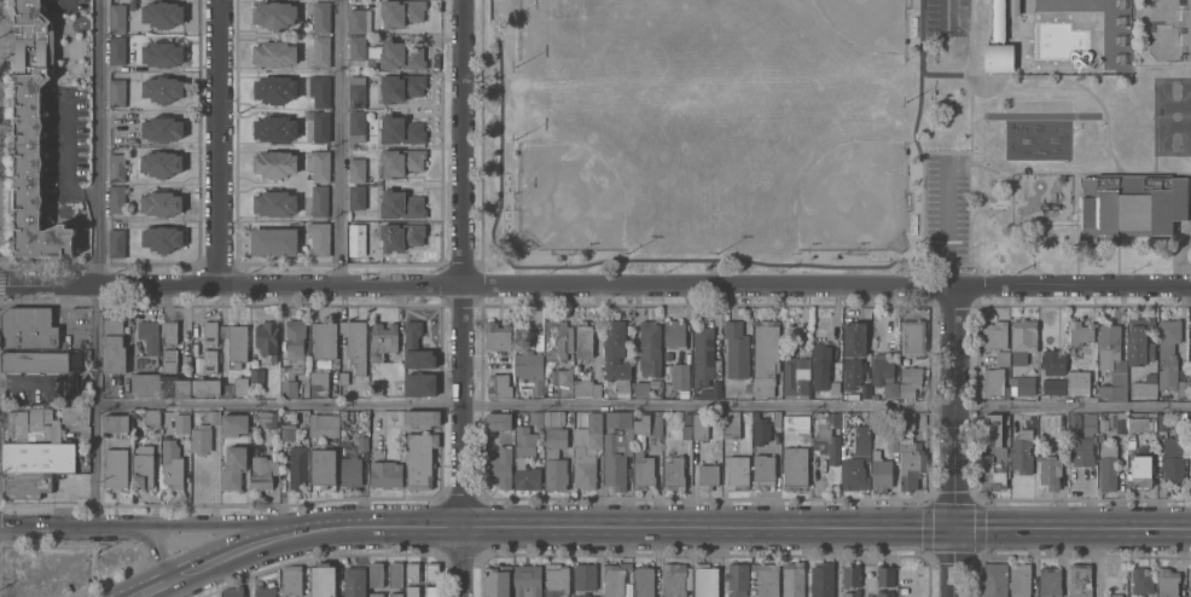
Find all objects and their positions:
road: (65, 0)
building: (400, 12)
building: (162, 13)
building: (273, 13)
road: (946, 15)
building: (116, 17)
building: (321, 17)
building: (359, 19)
park: (1169, 29)
building: (998, 44)
building: (356, 47)
building: (31, 50)
building: (116, 50)
building: (320, 51)
building: (162, 52)
building: (274, 53)
building: (371, 54)
building: (401, 54)
building: (401, 86)
building: (161, 88)
building: (274, 88)
building: (319, 89)
building: (355, 91)
building: (116, 92)
building: (320, 126)
building: (356, 126)
building: (161, 127)
building: (274, 127)
building: (401, 129)
park: (835, 134)
road: (342, 141)
road: (216, 143)
building: (401, 161)
building: (161, 162)
building: (274, 163)
road: (63, 166)
building: (320, 166)
building: (116, 167)
building: (355, 169)
building: (33, 190)
building: (356, 196)
building: (116, 198)
building: (319, 199)
building: (161, 202)
building: (274, 202)
building: (1131, 203)
building: (400, 204)
road: (947, 222)
building: (400, 234)
building: (161, 237)
building: (319, 237)
building: (273, 240)
building: (116, 242)
building: (356, 243)
road: (97, 263)
road: (594, 283)
road: (461, 298)
building: (28, 328)
building: (169, 331)
building: (209, 331)
building: (223, 331)
building: (673, 331)
building: (1080, 331)
building: (994, 334)
building: (496, 335)
building: (912, 336)
building: (266, 337)
building: (295, 337)
building: (1022, 338)
building: (324, 340)
building: (382, 340)
building: (557, 340)
building: (583, 340)
building: (1139, 341)
building: (355, 342)
building: (112, 344)
building: (146, 344)
building: (237, 344)
building: (650, 344)
building: (416, 346)
building: (306, 347)
building: (736, 348)
building: (766, 349)
building: (853, 353)
building: (1169, 354)
building: (616, 355)
building: (702, 355)
building: (1001, 357)
building: (33, 360)
building: (75, 360)
building: (209, 360)
building: (1052, 360)
building: (1112, 360)
building: (306, 361)
building: (820, 365)
building: (185, 366)
building: (529, 369)
building: (882, 371)
building: (256, 375)
building: (680, 375)
building: (666, 376)
building: (795, 376)
building: (173, 377)
building: (343, 377)
building: (562, 379)
building: (908, 379)
building: (1190, 379)
building: (1077, 382)
building: (145, 383)
building: (318, 383)
building: (419, 383)
building: (993, 383)
building: (1024, 383)
building: (205, 386)
building: (239, 386)
building: (499, 386)
building: (1053, 386)
building: (376, 387)
building: (586, 387)
building: (644, 387)
building: (833, 387)
building: (287, 388)
building: (399, 388)
building: (1143, 388)
building: (226, 389)
building: (711, 389)
building: (762, 389)
building: (888, 389)
building: (865, 390)
building: (1190, 392)
building: (684, 393)
building: (853, 395)
road: (641, 405)
road: (955, 407)
building: (76, 413)
building: (151, 416)
building: (214, 416)
building: (343, 416)
building: (422, 417)
building: (535, 417)
building: (553, 417)
building: (267, 418)
building: (617, 418)
building: (777, 418)
building: (1090, 418)
building: (498, 421)
building: (906, 421)
building: (796, 422)
building: (1121, 422)
building: (1162, 422)
building: (33, 423)
building: (115, 423)
building: (181, 423)
building: (233, 423)
building: (324, 424)
building: (641, 424)
building: (656, 425)
building: (699, 425)
building: (1135, 427)
building: (731, 429)
building: (760, 429)
building: (685, 431)
building: (287, 433)
building: (826, 434)
building: (592, 436)
building: (201, 437)
building: (554, 440)
building: (860, 440)
building: (1080, 441)
building: (361, 442)
building: (891, 444)
building: (1022, 451)
building: (876, 454)
building: (992, 454)
building: (36, 457)
building: (1173, 457)
building: (419, 459)
building: (519, 462)
building: (624, 462)
building: (910, 463)
building: (172, 464)
building: (323, 465)
building: (500, 465)
building: (115, 466)
building: (233, 466)
building: (297, 466)
building: (794, 466)
building: (1106, 466)
building: (583, 468)
building: (1140, 469)
building: (141, 470)
building: (738, 470)
building: (262, 471)
building: (350, 471)
building: (763, 471)
building: (1050, 471)
building: (384, 473)
building: (881, 473)
building: (554, 474)
building: (674, 474)
building: (707, 474)
building: (853, 474)
building: (25, 485)
road: (223, 524)
road: (754, 527)
road: (64, 528)
road: (158, 545)
road: (244, 547)
road: (1097, 562)
road: (955, 563)
building: (412, 570)
building: (430, 572)
building: (374, 573)
building: (395, 573)
building: (850, 574)
building: (884, 574)
building: (1189, 575)
building: (585, 576)
building: (615, 578)
building: (323, 579)
building: (736, 579)
building: (766, 579)
building: (792, 579)
building: (821, 579)
building: (1018, 579)
building: (291, 580)
building: (527, 580)
building: (676, 580)
building: (704, 580)
building: (993, 580)
building: (1079, 580)
building: (354, 581)
building: (496, 581)
building: (556, 581)
building: (643, 581)
building: (1048, 581)
building: (1141, 581)
building: (1167, 581)
road: (153, 587)
building: (412, 590)
building: (232, 591)
building: (265, 591)
building: (431, 591)
building: (852, 593)
building: (884, 593)
building: (374, 595)
building: (395, 595)
building: (586, 595)
building: (1114, 595)
building: (1190, 596)

